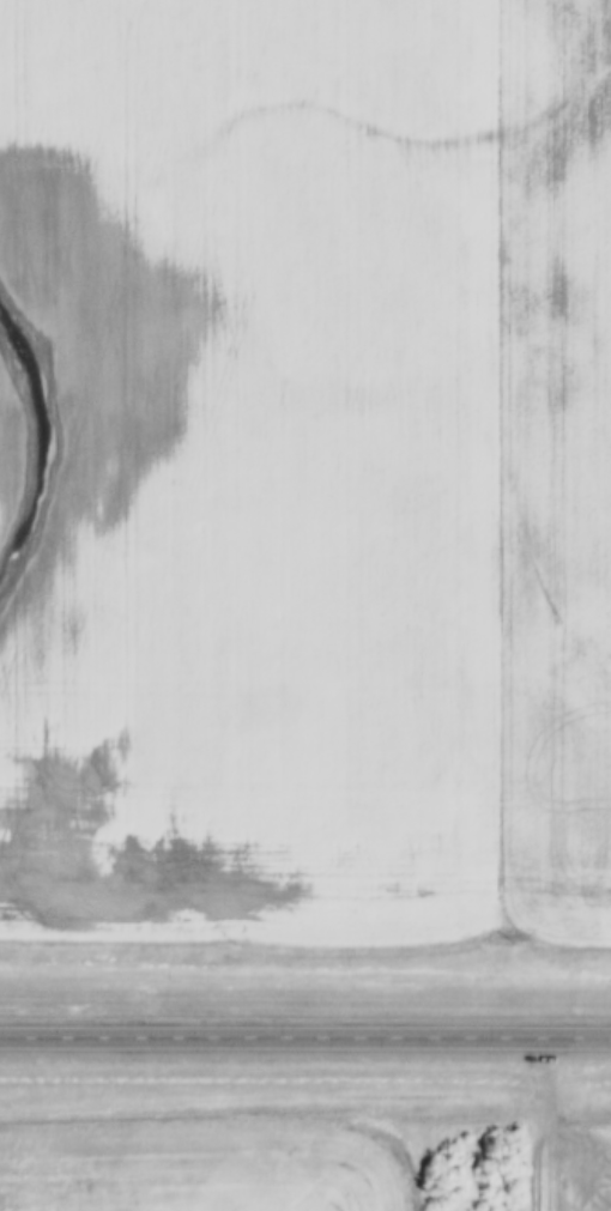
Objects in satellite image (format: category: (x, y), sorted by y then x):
road: (305, 1036)

